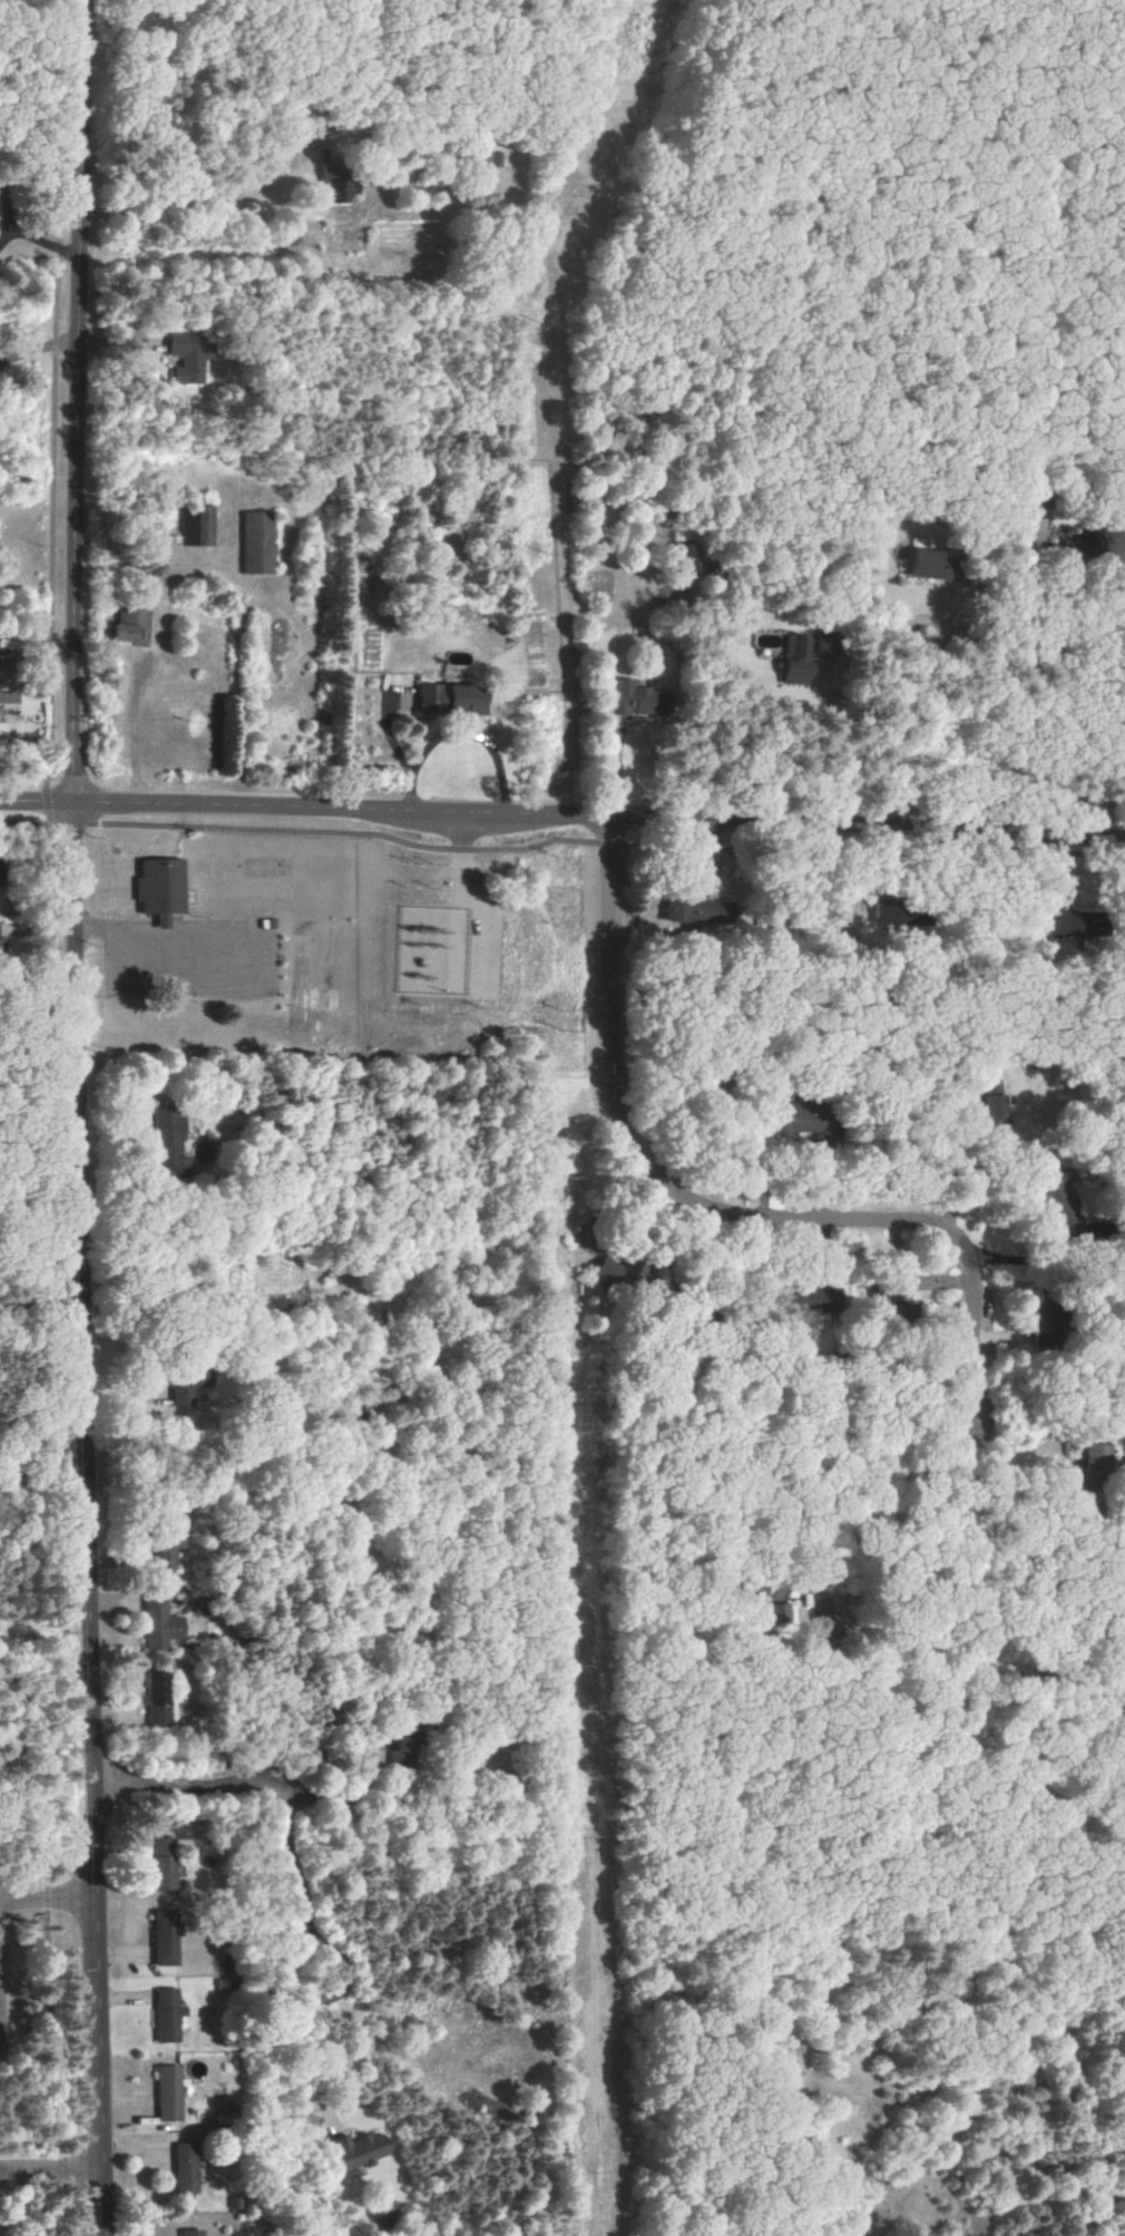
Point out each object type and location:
building: (481, 159)
building: (342, 191)
road: (205, 194)
road: (29, 236)
road: (40, 341)
building: (186, 358)
building: (196, 526)
building: (257, 543)
building: (929, 564)
building: (127, 626)
building: (796, 661)
building: (447, 699)
building: (630, 699)
building: (7, 703)
road: (1035, 714)
road: (883, 729)
road: (838, 741)
road: (38, 802)
road: (600, 816)
road: (565, 842)
building: (156, 889)
building: (693, 909)
building: (891, 915)
building: (1062, 921)
building: (1, 947)
road: (40, 1027)
building: (984, 1106)
road: (82, 1117)
road: (56, 1120)
building: (795, 1120)
building: (172, 1144)
building: (1058, 1197)
road: (716, 1208)
building: (612, 1271)
building: (883, 1290)
building: (814, 1296)
road: (43, 1305)
building: (1095, 1456)
road: (46, 1475)
road: (1004, 1475)
road: (868, 1480)
building: (168, 1541)
building: (766, 1609)
building: (162, 1624)
road: (48, 1680)
building: (158, 1699)
road: (48, 1744)
building: (162, 1863)
road: (293, 1863)
road: (50, 1893)
building: (162, 1937)
building: (164, 2014)
building: (165, 2092)
building: (356, 2149)
road: (53, 2167)
building: (183, 2168)
building: (188, 2233)

